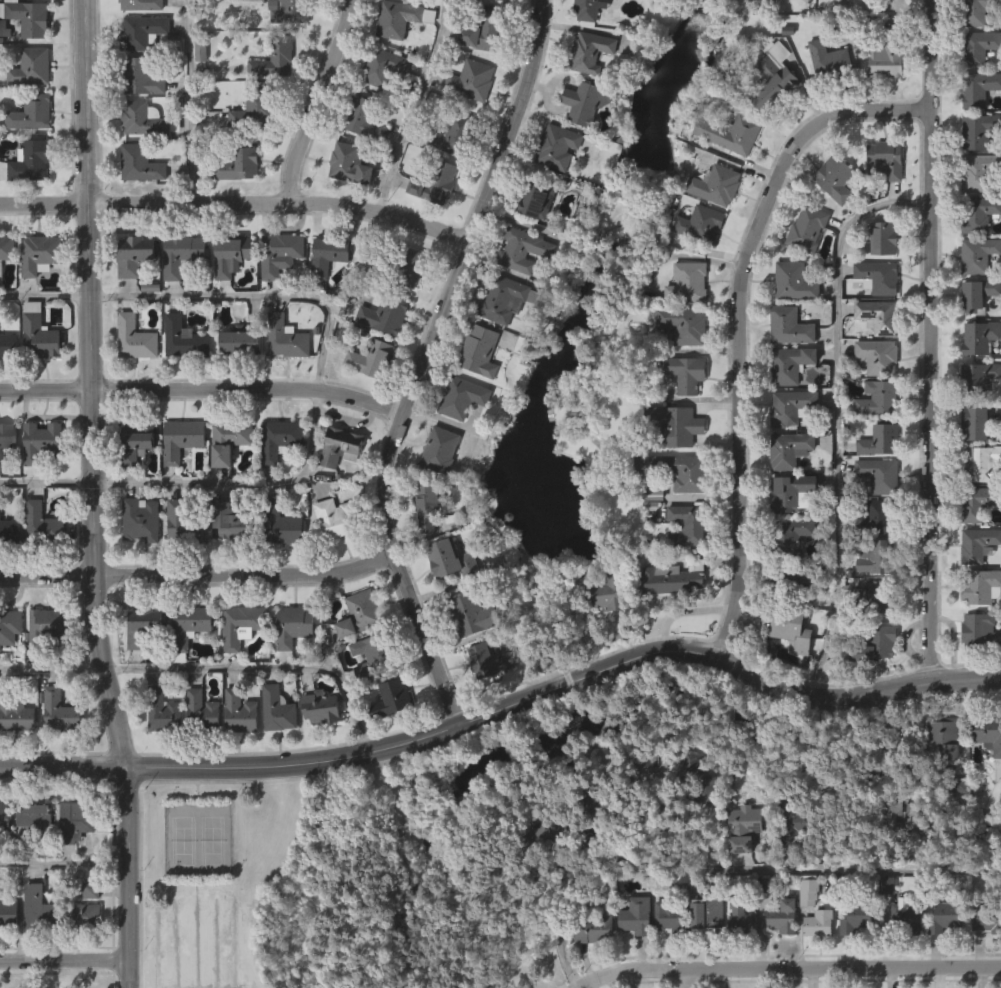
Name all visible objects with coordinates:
building: (141, 4)
building: (692, 6)
building: (585, 10)
building: (289, 11)
building: (742, 13)
building: (788, 13)
building: (981, 13)
building: (881, 15)
building: (833, 16)
building: (28, 17)
building: (401, 18)
building: (141, 31)
building: (483, 31)
building: (587, 37)
building: (978, 46)
building: (591, 51)
building: (889, 54)
building: (274, 58)
building: (829, 61)
building: (382, 66)
building: (31, 67)
building: (774, 74)
building: (139, 76)
building: (472, 79)
building: (979, 87)
building: (197, 93)
building: (270, 100)
building: (824, 100)
road: (190, 102)
road: (320, 102)
building: (881, 102)
building: (586, 103)
building: (379, 107)
road: (415, 107)
building: (254, 110)
building: (30, 112)
building: (769, 115)
building: (364, 118)
building: (144, 119)
building: (467, 121)
building: (979, 130)
building: (731, 132)
building: (455, 135)
building: (581, 142)
building: (557, 146)
building: (886, 159)
building: (29, 161)
building: (141, 163)
building: (238, 164)
building: (349, 164)
building: (979, 171)
building: (726, 174)
building: (835, 178)
building: (436, 183)
building: (717, 185)
building: (552, 187)
building: (536, 200)
building: (881, 200)
building: (27, 201)
building: (136, 203)
road: (238, 204)
building: (346, 204)
building: (235, 205)
building: (979, 214)
building: (831, 218)
building: (433, 223)
building: (701, 224)
building: (807, 228)
building: (884, 238)
building: (6, 250)
building: (522, 250)
building: (39, 254)
building: (135, 254)
building: (181, 254)
building: (230, 254)
building: (279, 254)
building: (332, 254)
building: (978, 255)
building: (398, 261)
building: (697, 264)
building: (803, 269)
building: (878, 277)
building: (795, 281)
building: (688, 283)
building: (5, 287)
building: (36, 293)
building: (276, 294)
building: (325, 294)
road: (45, 295)
building: (130, 295)
building: (178, 295)
building: (227, 295)
building: (979, 295)
road: (253, 297)
building: (504, 298)
building: (406, 308)
building: (385, 313)
building: (879, 315)
road: (741, 323)
building: (683, 324)
building: (790, 326)
building: (40, 333)
building: (135, 337)
building: (286, 337)
building: (980, 337)
road: (933, 338)
building: (184, 339)
building: (243, 339)
building: (499, 339)
building: (7, 345)
building: (480, 351)
building: (878, 356)
building: (370, 359)
road: (424, 362)
building: (791, 364)
building: (685, 373)
building: (35, 374)
building: (131, 378)
building: (180, 378)
building: (282, 378)
building: (978, 378)
building: (236, 382)
building: (6, 385)
building: (475, 390)
road: (203, 391)
building: (462, 397)
building: (366, 398)
building: (879, 399)
building: (791, 407)
road: (837, 411)
building: (975, 423)
building: (673, 426)
building: (8, 435)
building: (458, 437)
building: (181, 438)
building: (235, 439)
building: (280, 440)
building: (880, 441)
building: (40, 443)
building: (135, 443)
building: (340, 447)
building: (789, 449)
building: (440, 450)
building: (979, 463)
building: (678, 471)
building: (879, 475)
building: (6, 476)
building: (178, 478)
building: (276, 479)
building: (38, 481)
building: (225, 481)
building: (131, 482)
road: (242, 482)
road: (46, 484)
building: (336, 486)
building: (799, 491)
road: (93, 495)
building: (978, 503)
building: (429, 506)
building: (879, 518)
building: (140, 519)
building: (336, 519)
building: (233, 522)
building: (41, 523)
building: (183, 524)
building: (281, 524)
building: (687, 525)
building: (9, 531)
building: (649, 535)
building: (790, 536)
building: (979, 545)
building: (423, 546)
building: (878, 553)
building: (331, 558)
building: (137, 559)
building: (452, 559)
building: (230, 560)
building: (179, 561)
building: (276, 563)
building: (38, 564)
building: (683, 565)
building: (8, 571)
road: (199, 576)
building: (674, 579)
building: (794, 581)
building: (982, 587)
building: (607, 593)
building: (876, 594)
building: (447, 600)
building: (360, 614)
building: (471, 614)
building: (667, 620)
building: (9, 626)
building: (189, 626)
building: (241, 626)
building: (294, 626)
building: (45, 627)
building: (145, 627)
building: (787, 628)
building: (981, 631)
building: (599, 633)
building: (873, 645)
building: (356, 652)
building: (376, 653)
building: (466, 654)
building: (491, 659)
building: (39, 664)
building: (236, 664)
road: (51, 665)
building: (185, 665)
road: (266, 665)
building: (290, 665)
building: (8, 666)
building: (976, 669)
building: (783, 670)
building: (872, 684)
building: (364, 695)
building: (175, 697)
building: (393, 699)
building: (485, 699)
building: (323, 707)
road: (506, 707)
building: (280, 708)
building: (61, 711)
building: (163, 712)
building: (201, 713)
building: (241, 713)
building: (14, 714)
building: (943, 736)
building: (388, 738)
building: (987, 738)
building: (892, 739)
building: (318, 747)
building: (198, 750)
building: (274, 750)
building: (56, 751)
building: (159, 751)
building: (236, 752)
building: (15, 757)
building: (734, 757)
building: (651, 768)
building: (698, 777)
building: (937, 777)
building: (988, 783)
building: (687, 802)
building: (644, 804)
building: (37, 816)
building: (4, 817)
building: (899, 817)
building: (585, 818)
building: (77, 822)
building: (793, 822)
building: (544, 826)
building: (748, 828)
building: (699, 833)
park: (186, 840)
park: (214, 840)
building: (588, 844)
building: (31, 855)
building: (3, 856)
building: (889, 856)
road: (64, 858)
building: (70, 861)
building: (791, 866)
building: (739, 867)
road: (852, 867)
building: (540, 872)
park: (318, 887)
building: (40, 907)
building: (8, 909)
building: (947, 913)
building: (81, 915)
building: (636, 915)
building: (784, 916)
building: (859, 916)
building: (710, 917)
building: (743, 917)
building: (907, 917)
building: (673, 918)
building: (987, 919)
building: (819, 922)
road: (557, 923)
building: (882, 925)
building: (594, 928)
building: (86, 929)
building: (804, 932)
building: (35, 948)
building: (703, 952)
building: (7, 953)
building: (79, 953)
building: (632, 955)
building: (665, 955)
building: (779, 956)
building: (941, 956)
building: (853, 957)
building: (737, 958)
building: (901, 958)
road: (65, 959)
building: (984, 961)
building: (814, 963)
road: (787, 966)
building: (590, 969)
road: (685, 977)
road: (594, 984)

